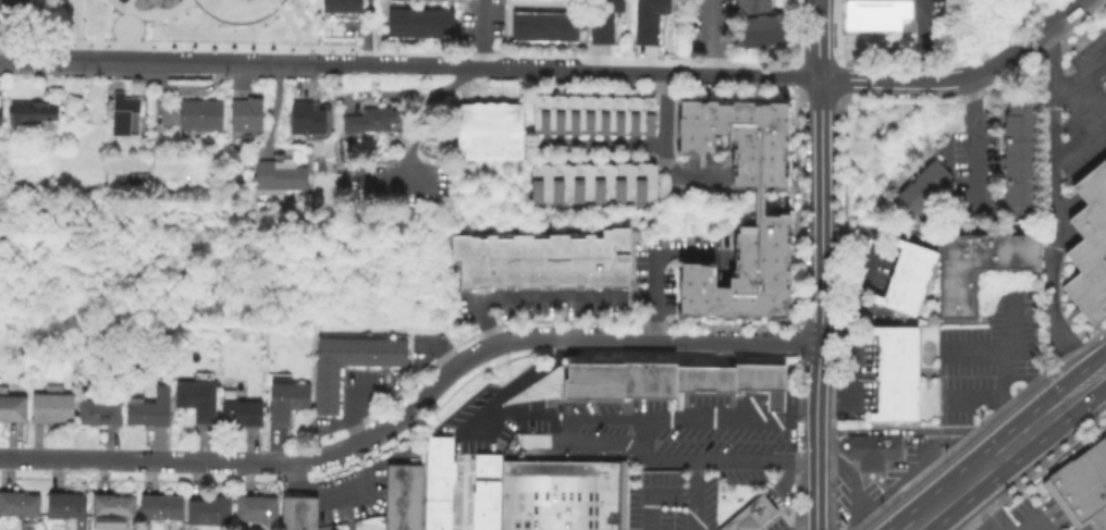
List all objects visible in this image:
building: (247, 0)
road: (246, 2)
building: (9, 4)
road: (126, 4)
road: (278, 5)
building: (330, 5)
building: (348, 5)
building: (604, 5)
building: (650, 5)
building: (750, 5)
building: (874, 13)
road: (149, 16)
road: (136, 17)
building: (418, 22)
park: (184, 23)
road: (236, 23)
building: (542, 25)
building: (599, 26)
building: (644, 27)
road: (836, 27)
road: (292, 29)
building: (759, 29)
road: (81, 30)
road: (364, 33)
road: (480, 35)
road: (128, 37)
road: (708, 37)
road: (819, 38)
road: (920, 40)
road: (1021, 47)
road: (419, 51)
road: (816, 51)
road: (298, 53)
road: (28, 60)
road: (290, 65)
road: (839, 66)
road: (671, 73)
road: (1078, 74)
road: (887, 81)
road: (272, 107)
building: (29, 111)
building: (120, 111)
building: (0, 112)
building: (198, 112)
building: (245, 112)
building: (539, 112)
building: (554, 112)
building: (583, 112)
building: (569, 113)
building: (599, 113)
building: (614, 113)
building: (629, 114)
building: (644, 114)
building: (304, 116)
building: (372, 118)
road: (423, 121)
building: (487, 130)
building: (736, 136)
road: (1078, 137)
road: (972, 140)
road: (595, 141)
road: (672, 143)
road: (660, 150)
building: (1017, 156)
building: (276, 174)
building: (140, 175)
road: (401, 178)
building: (560, 182)
building: (580, 182)
building: (601, 182)
building: (622, 182)
building: (642, 182)
building: (539, 183)
building: (920, 187)
road: (755, 199)
road: (1050, 210)
road: (648, 218)
building: (1089, 244)
building: (541, 259)
road: (631, 262)
road: (651, 264)
building: (975, 267)
building: (741, 273)
building: (906, 278)
road: (540, 296)
road: (820, 304)
flagpole: (1060, 313)
road: (845, 317)
road: (831, 328)
road: (577, 344)
building: (325, 350)
building: (348, 350)
building: (370, 350)
building: (393, 350)
road: (973, 352)
road: (1004, 367)
road: (1092, 368)
building: (894, 371)
building: (324, 378)
building: (667, 382)
road: (1094, 385)
building: (283, 397)
building: (195, 398)
building: (324, 400)
building: (50, 404)
road: (351, 404)
building: (11, 405)
building: (147, 408)
building: (98, 410)
building: (238, 411)
road: (1008, 415)
road: (685, 421)
road: (920, 430)
road: (642, 437)
road: (591, 444)
building: (871, 453)
road: (999, 456)
road: (186, 461)
building: (536, 473)
building: (551, 473)
building: (565, 473)
building: (580, 474)
building: (611, 476)
building: (514, 479)
building: (435, 482)
road: (853, 483)
building: (1081, 484)
road: (317, 489)
building: (483, 492)
building: (563, 495)
road: (652, 495)
building: (401, 496)
road: (692, 496)
building: (611, 501)
building: (16, 502)
building: (64, 504)
building: (111, 505)
building: (159, 506)
road: (985, 506)
building: (254, 507)
building: (208, 509)
building: (514, 509)
building: (296, 513)
building: (561, 514)
building: (752, 516)
building: (611, 520)
road: (988, 520)
building: (514, 525)
road: (810, 527)
road: (912, 527)

